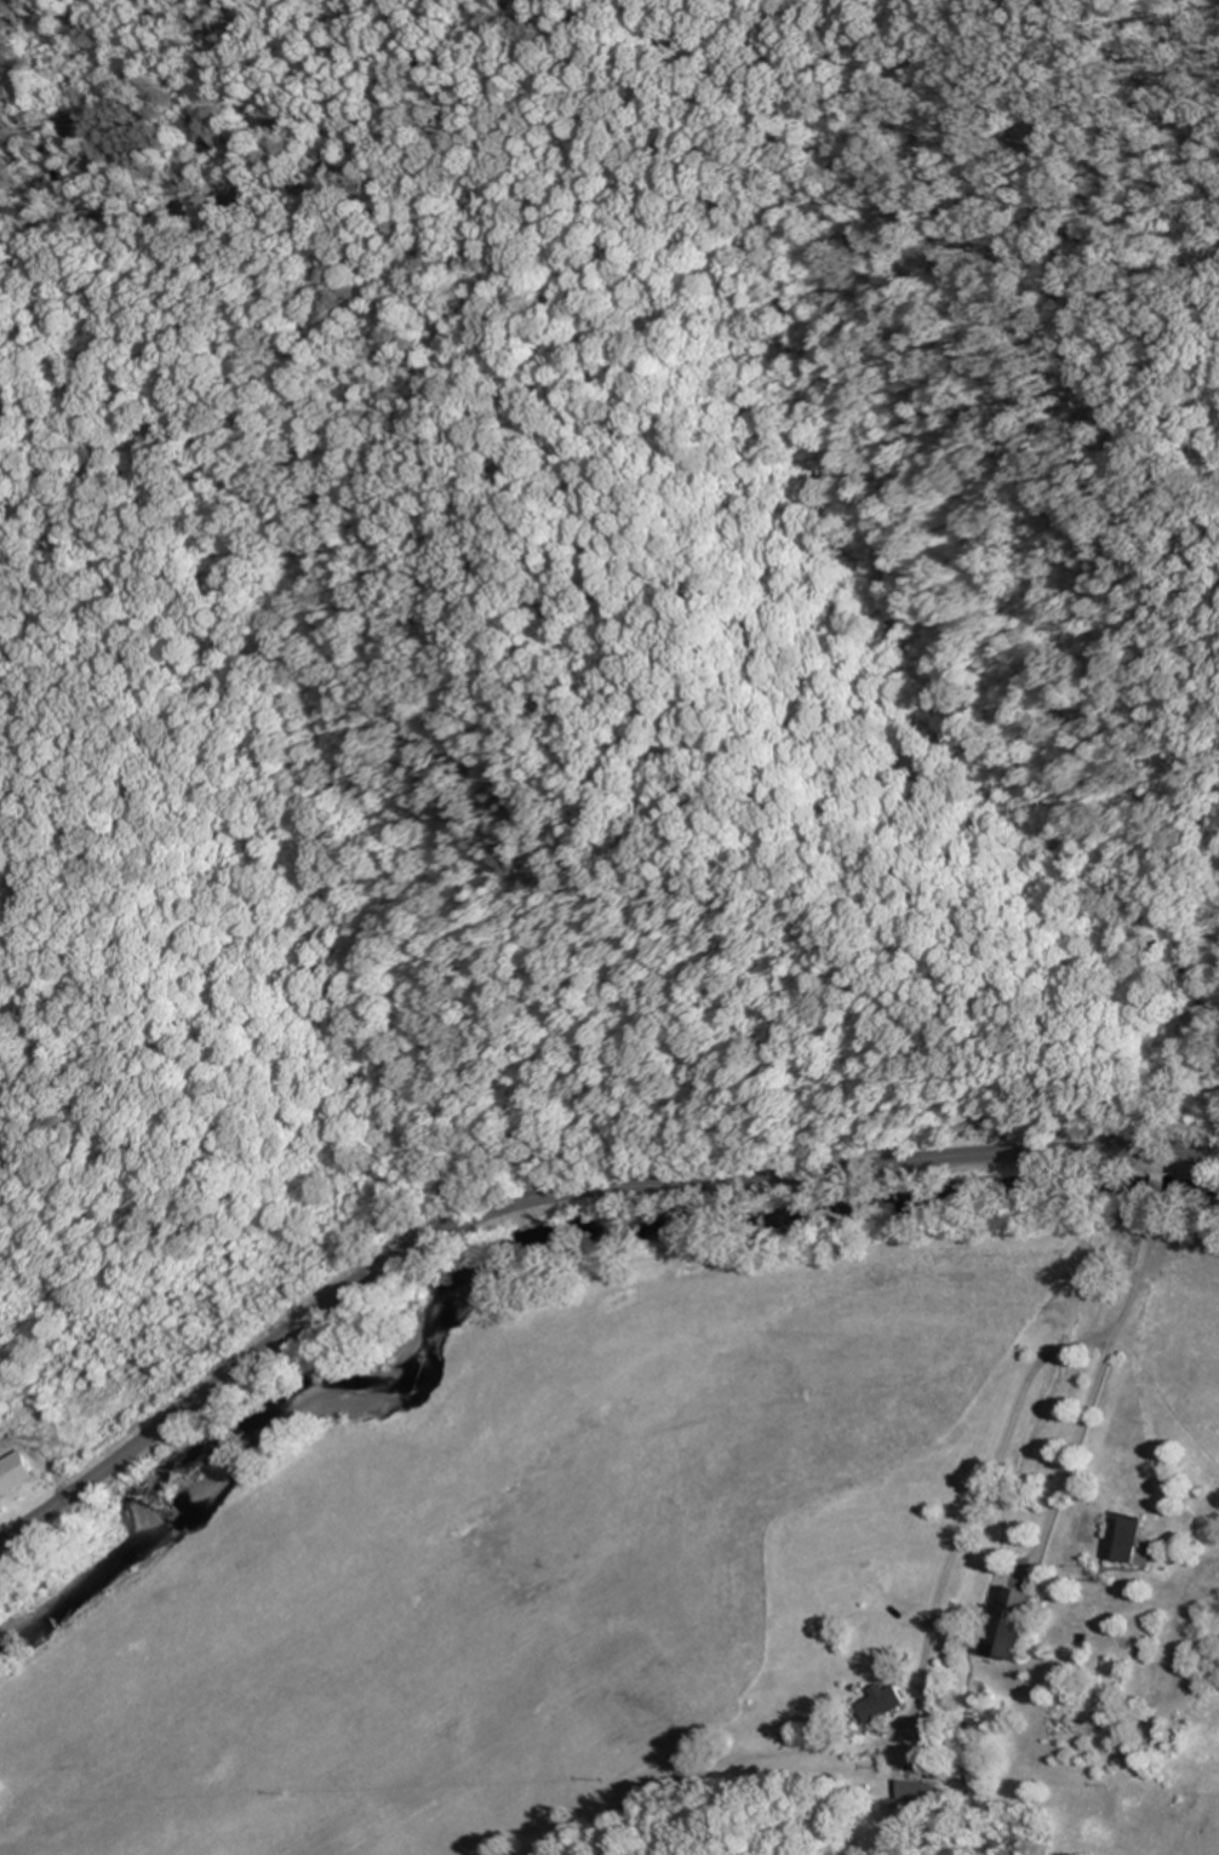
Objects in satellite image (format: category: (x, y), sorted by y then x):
road: (1160, 1162)
road: (1157, 1183)
road: (559, 1198)
road: (1122, 1309)
building: (18, 1472)
building: (1124, 1535)
building: (1014, 1621)
building: (885, 1701)
building: (917, 1790)

